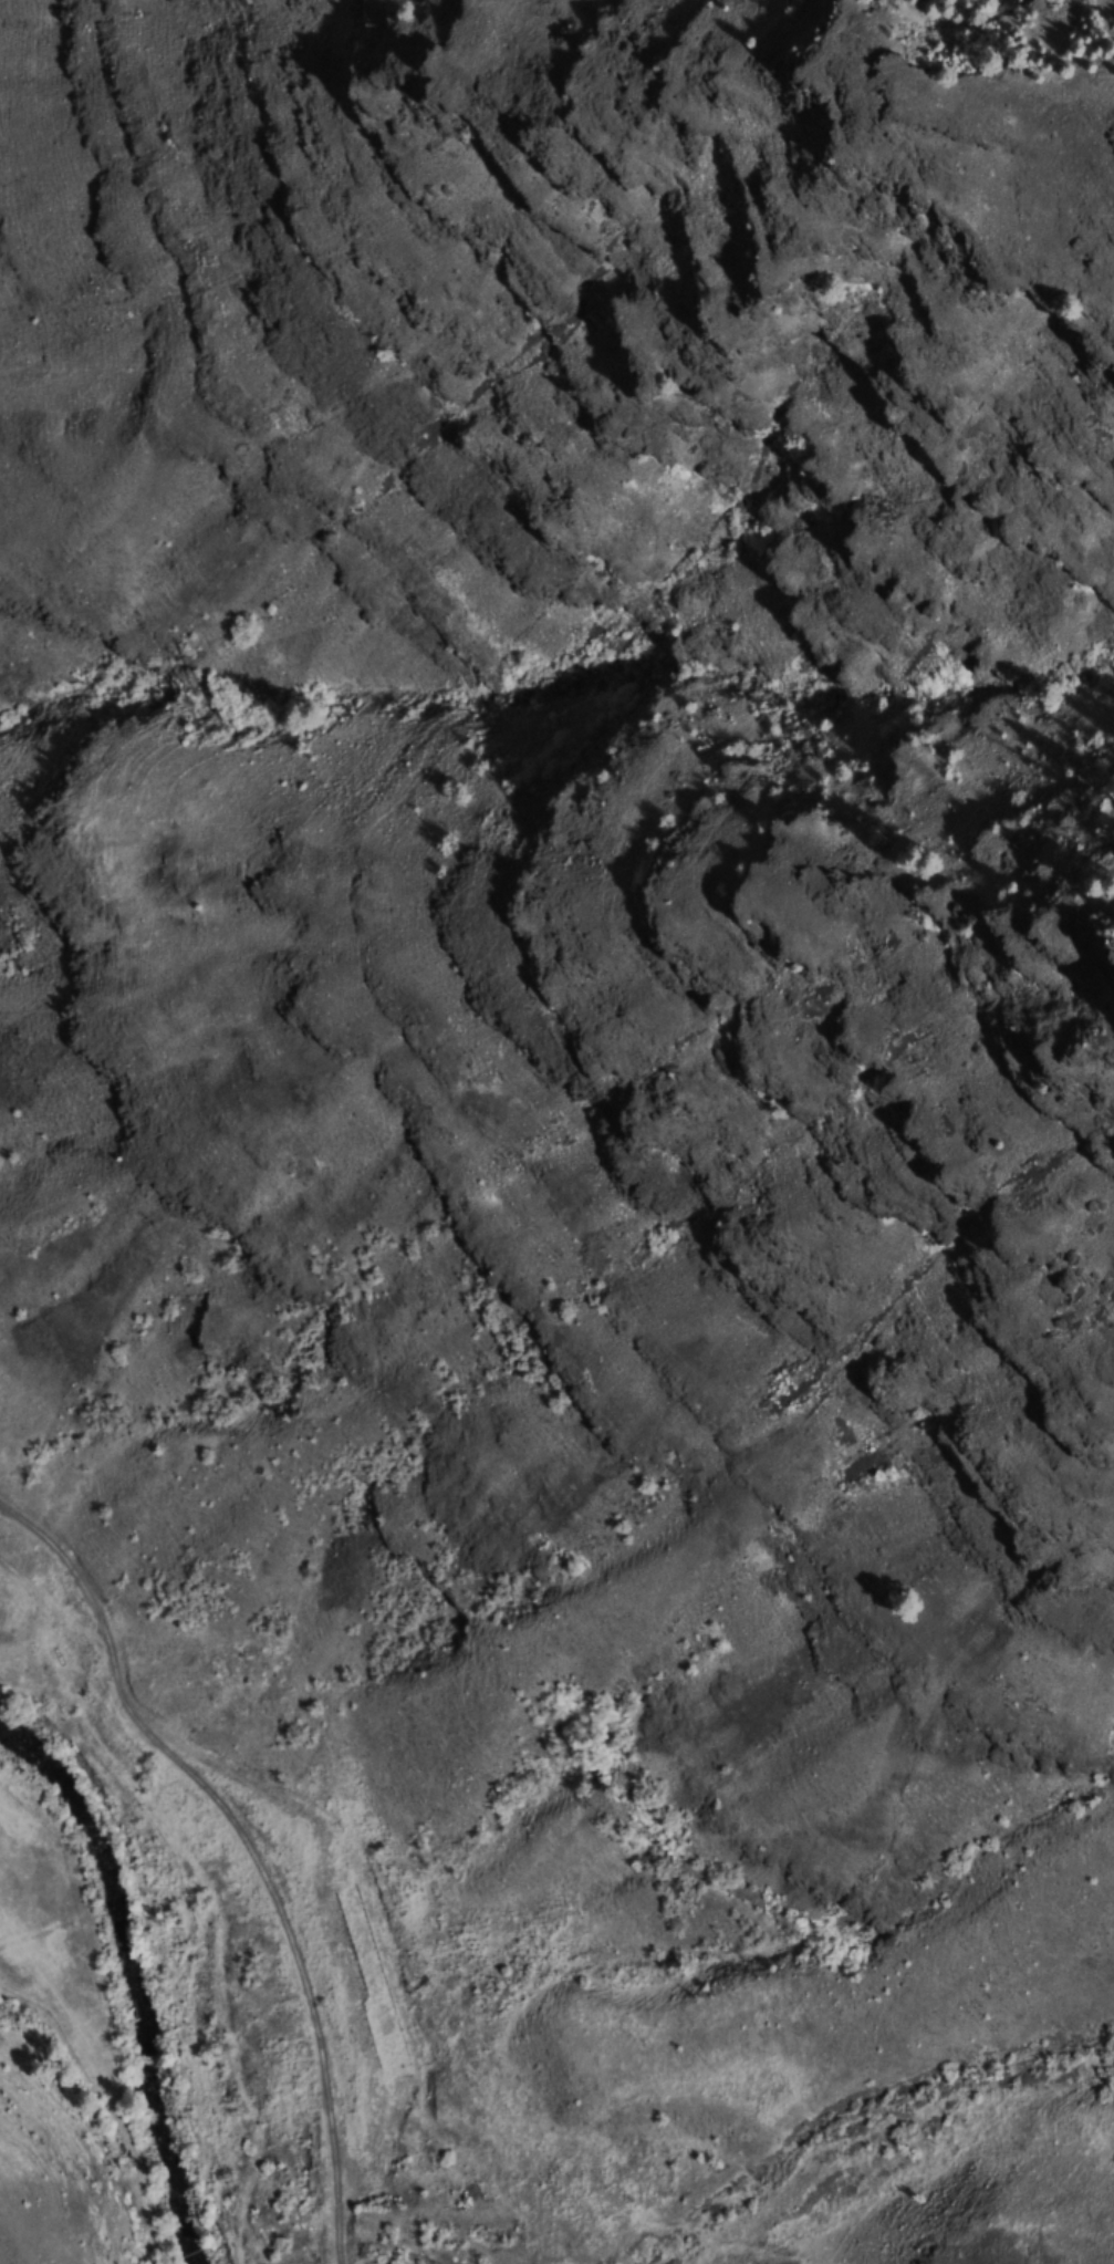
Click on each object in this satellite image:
road: (319, 1793)

